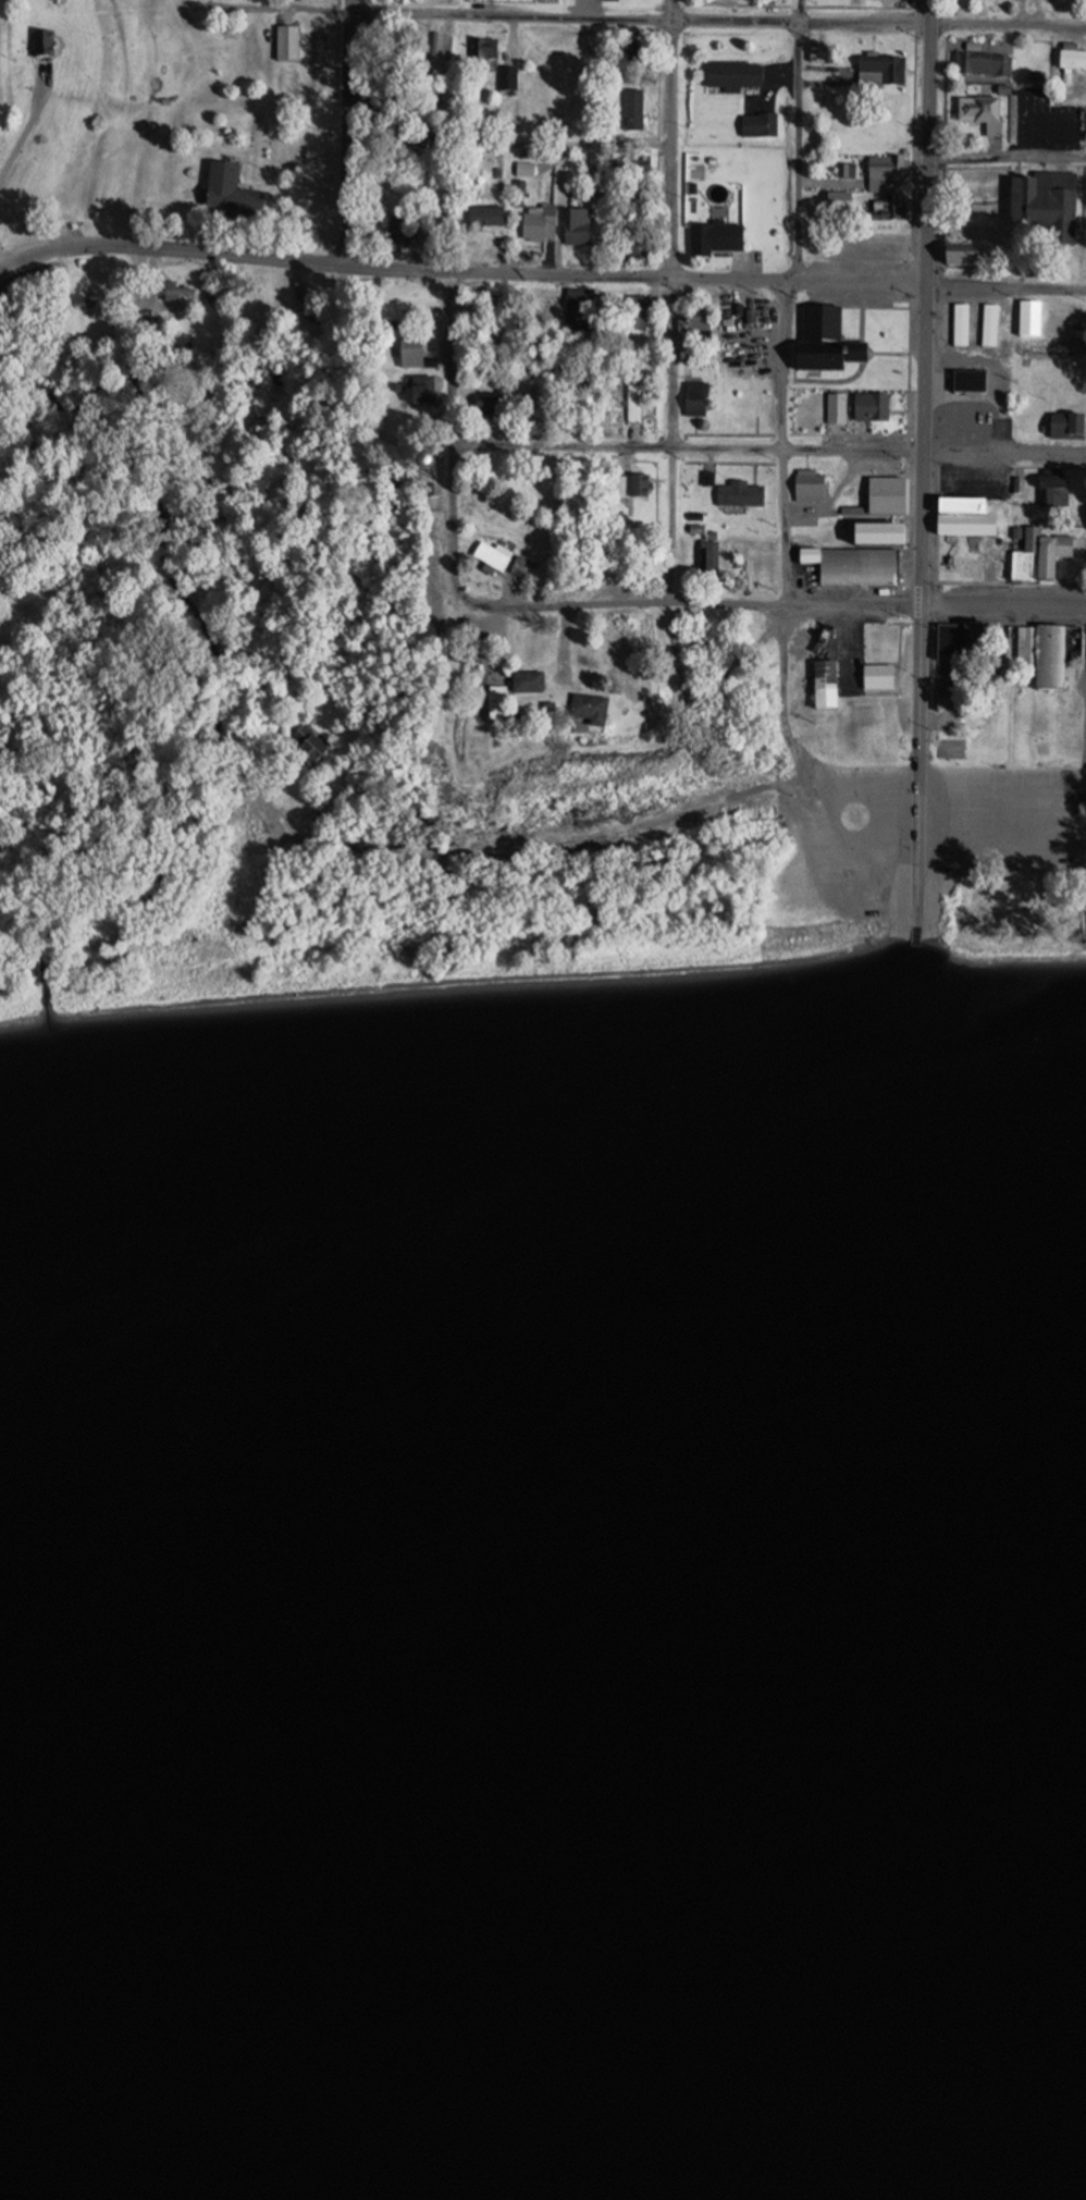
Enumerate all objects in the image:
road: (349, 4)
road: (577, 9)
road: (717, 20)
road: (442, 21)
road: (510, 36)
building: (39, 44)
building: (286, 45)
building: (440, 48)
building: (388, 49)
building: (481, 52)
building: (629, 54)
building: (1072, 54)
building: (817, 56)
building: (980, 61)
building: (883, 64)
road: (767, 72)
building: (729, 73)
road: (826, 81)
building: (508, 82)
building: (373, 107)
building: (631, 107)
building: (432, 110)
building: (988, 111)
parking lot: (1048, 120)
building: (756, 123)
road: (28, 130)
road: (347, 134)
road: (458, 136)
road: (795, 139)
road: (619, 142)
road: (1007, 157)
building: (412, 162)
building: (883, 170)
building: (847, 172)
road: (828, 177)
building: (227, 184)
building: (626, 189)
building: (1045, 198)
road: (965, 199)
road: (559, 202)
building: (839, 204)
building: (881, 207)
building: (482, 214)
building: (575, 222)
building: (531, 226)
building: (440, 229)
building: (398, 231)
building: (713, 235)
building: (627, 246)
road: (496, 250)
road: (508, 250)
road: (591, 253)
building: (964, 253)
road: (415, 254)
road: (387, 261)
road: (197, 266)
road: (296, 280)
road: (789, 280)
road: (861, 282)
road: (557, 283)
road: (1004, 285)
building: (177, 294)
road: (672, 300)
building: (497, 303)
road: (435, 306)
building: (577, 306)
road: (856, 308)
building: (634, 312)
building: (1026, 317)
road: (432, 321)
building: (151, 322)
building: (972, 322)
parking lot: (748, 324)
building: (696, 329)
building: (311, 335)
building: (824, 340)
building: (409, 348)
road: (887, 348)
road: (779, 366)
road: (906, 368)
road: (820, 377)
building: (967, 379)
building: (416, 393)
building: (694, 397)
building: (492, 405)
building: (633, 406)
building: (867, 407)
road: (896, 408)
building: (836, 410)
building: (958, 426)
building: (1064, 426)
road: (451, 427)
road: (491, 433)
road: (835, 440)
road: (617, 446)
road: (934, 453)
road: (920, 465)
building: (411, 468)
parking lot: (974, 476)
road: (838, 479)
building: (806, 484)
building: (629, 489)
building: (1051, 489)
building: (738, 493)
water tower: (428, 496)
building: (884, 497)
building: (425, 501)
building: (809, 512)
building: (963, 519)
building: (878, 537)
building: (1050, 553)
building: (1022, 555)
building: (704, 556)
building: (493, 561)
building: (851, 567)
building: (521, 570)
road: (990, 576)
road: (931, 585)
road: (508, 594)
road: (683, 603)
road: (1001, 604)
road: (908, 609)
road: (786, 616)
building: (991, 637)
road: (492, 642)
building: (947, 643)
building: (972, 646)
building: (1073, 646)
building: (1024, 651)
building: (1050, 662)
building: (876, 683)
building: (822, 687)
building: (527, 693)
building: (579, 711)
road: (1084, 713)
road: (674, 724)
building: (587, 725)
building: (307, 745)
road: (1081, 792)
road: (727, 800)
road: (291, 828)
building: (888, 1059)
river: (536, 1810)

